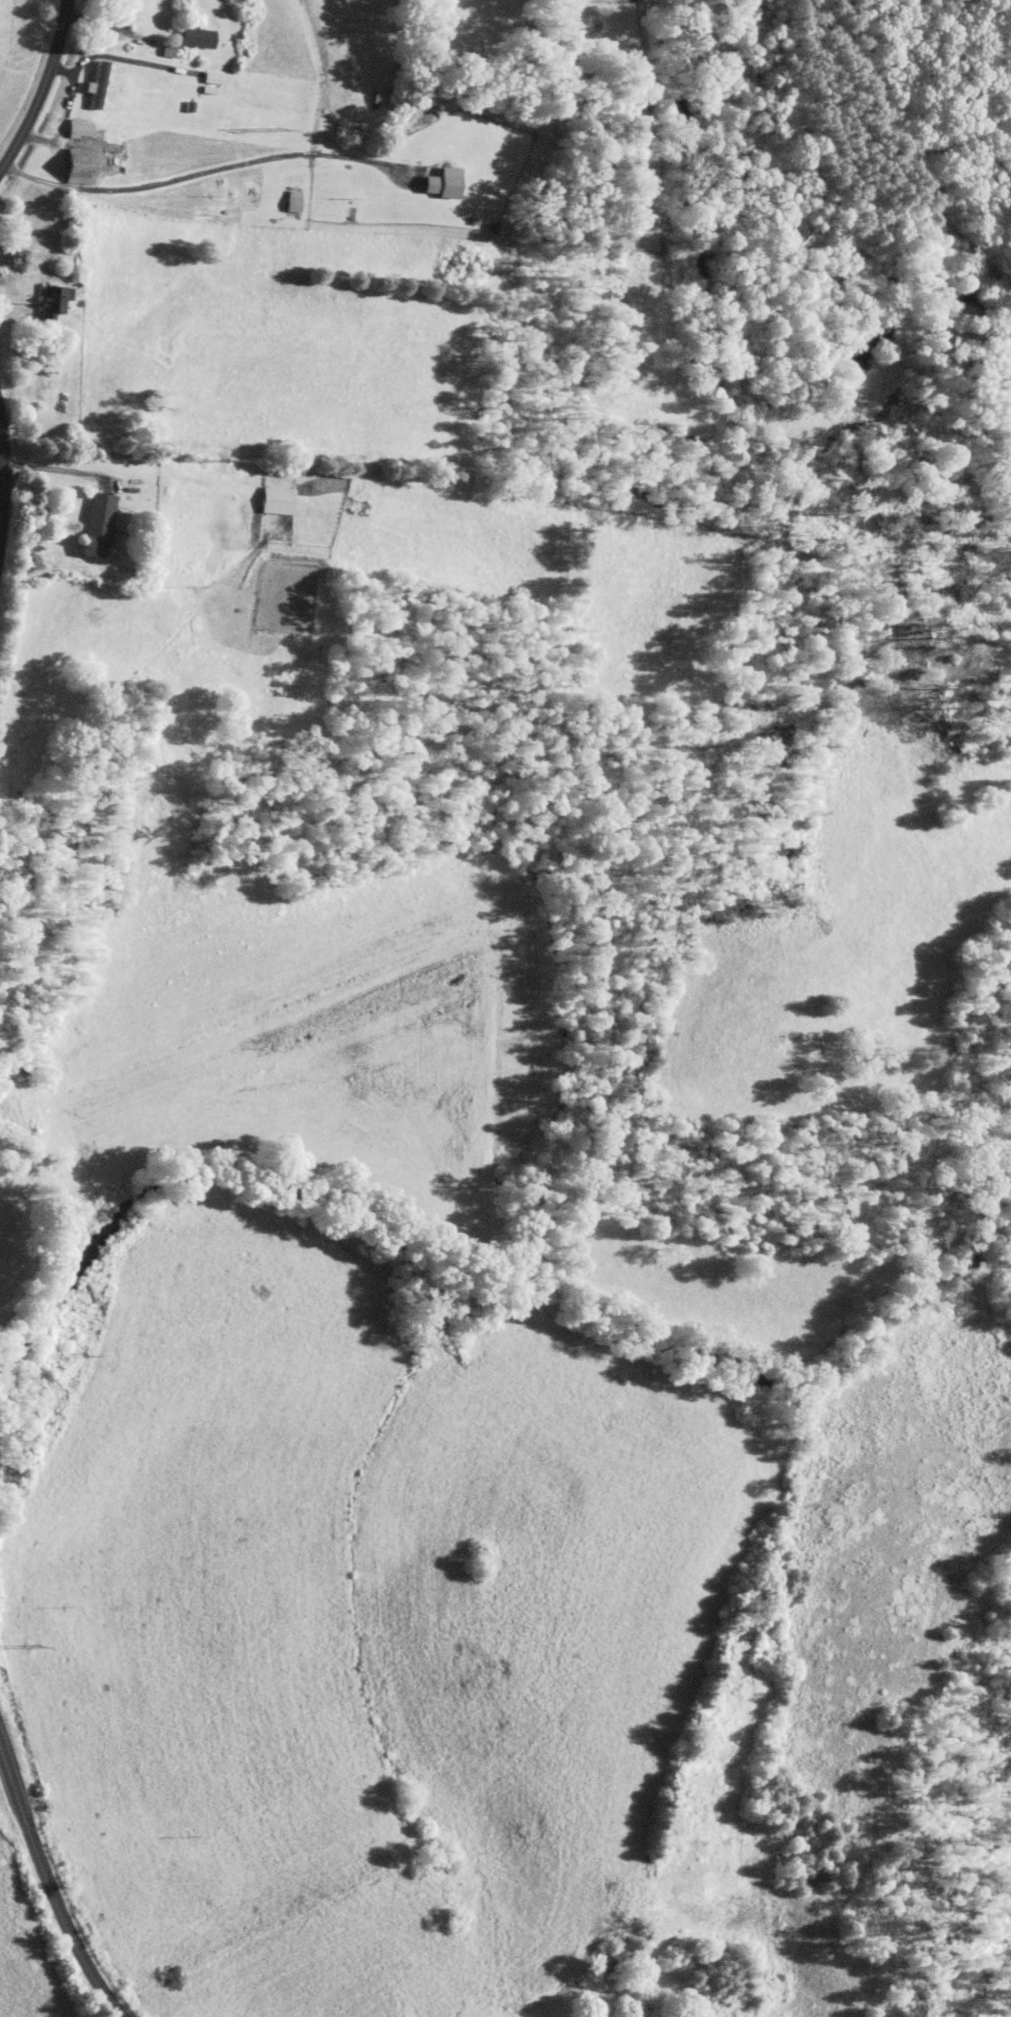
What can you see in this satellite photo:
building: (194, 37)
building: (94, 85)
road: (42, 88)
road: (66, 113)
building: (76, 128)
power tower: (279, 129)
building: (75, 165)
building: (440, 182)
building: (291, 200)
building: (51, 301)
power tower: (220, 459)
road: (58, 470)
road: (3, 475)
building: (275, 500)
building: (94, 525)
power tower: (171, 778)
power tower: (80, 1352)
power tower: (35, 1647)
road: (50, 1887)

